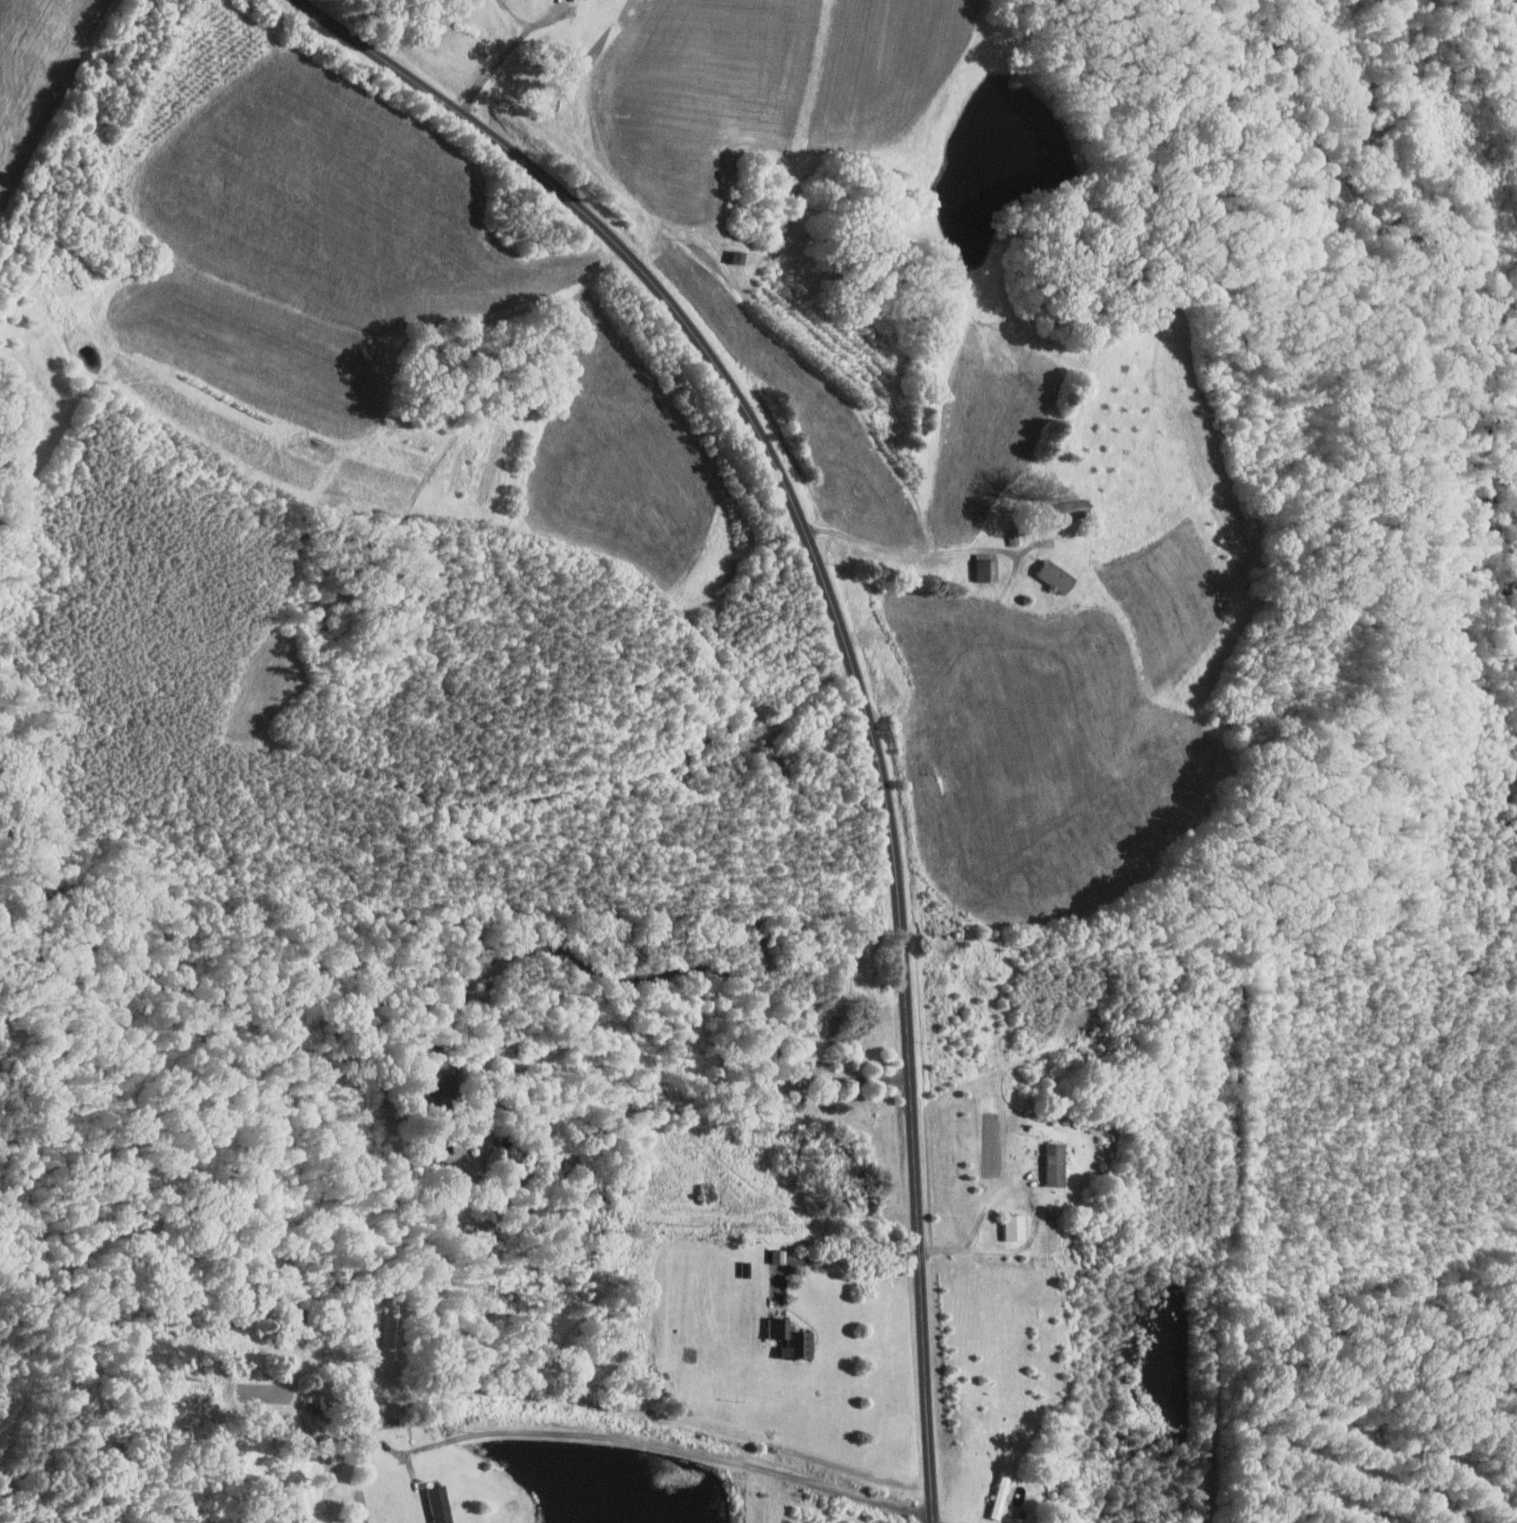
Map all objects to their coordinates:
road: (503, 58)
road: (111, 231)
road: (909, 543)
building: (988, 569)
building: (1057, 576)
road: (850, 653)
road: (646, 974)
building: (1057, 1164)
road: (1028, 1186)
building: (1017, 1226)
building: (780, 1256)
road: (836, 1257)
building: (793, 1338)
road: (673, 1448)
building: (1002, 1494)
building: (441, 1504)

